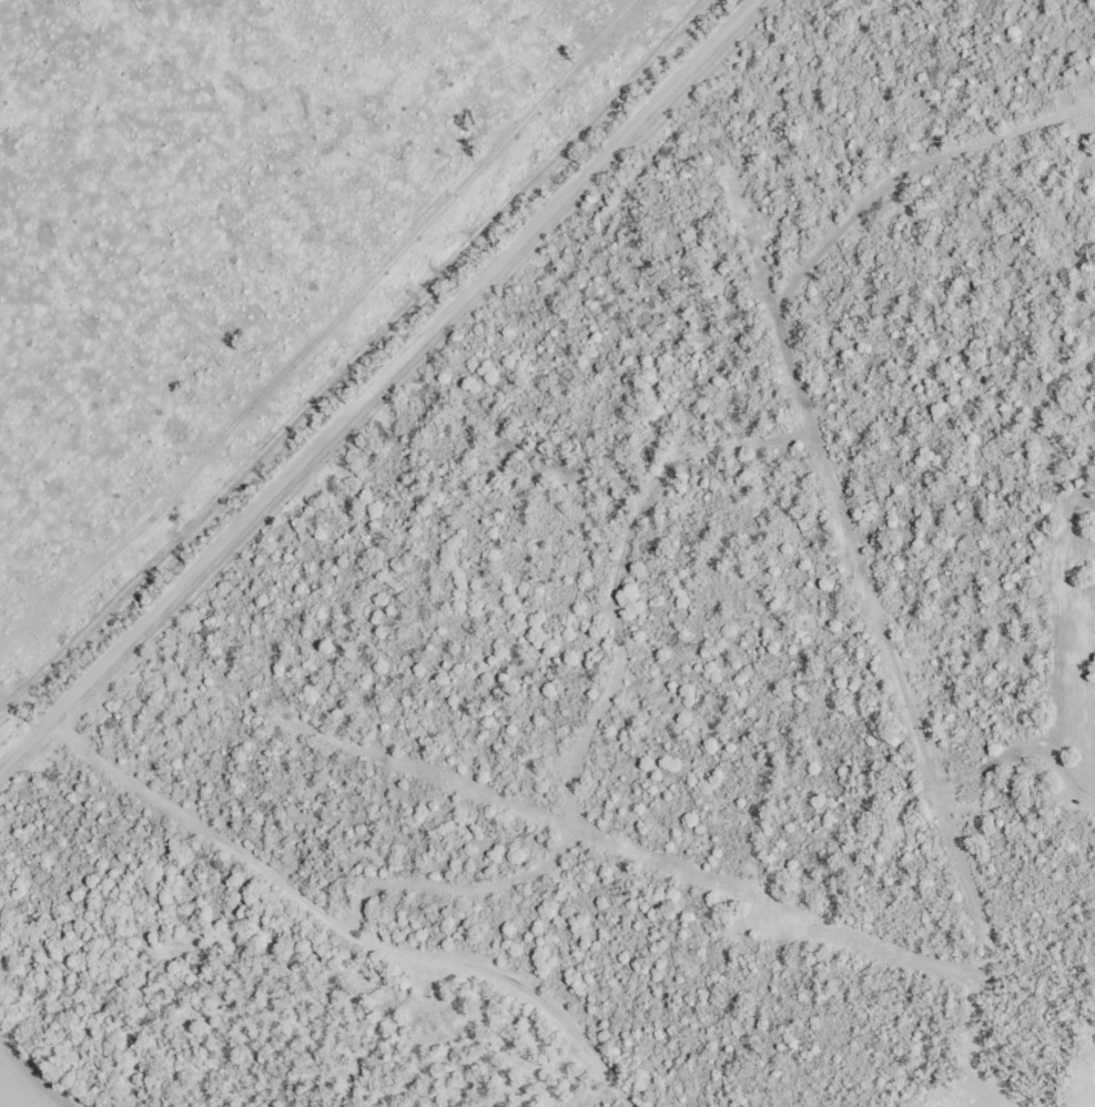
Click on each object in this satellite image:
road: (395, 376)
road: (75, 800)
road: (356, 902)

